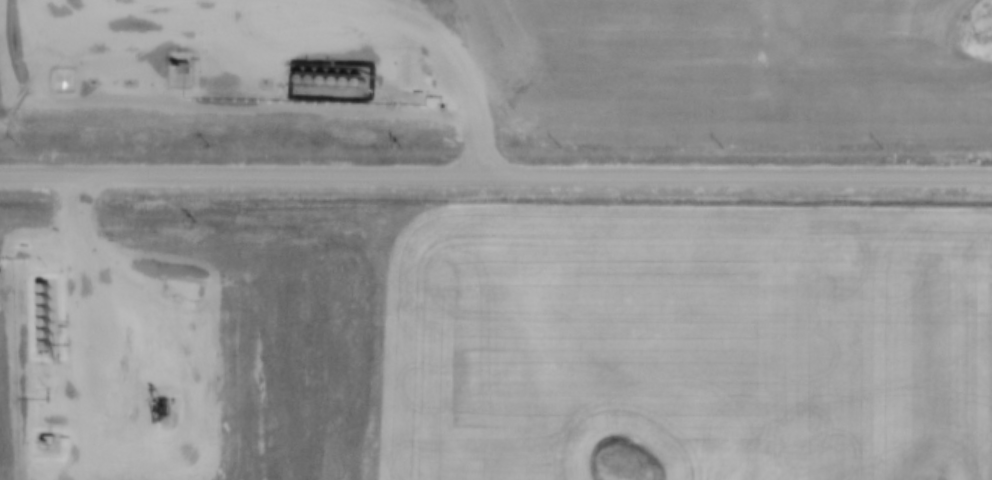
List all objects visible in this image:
road: (495, 199)

